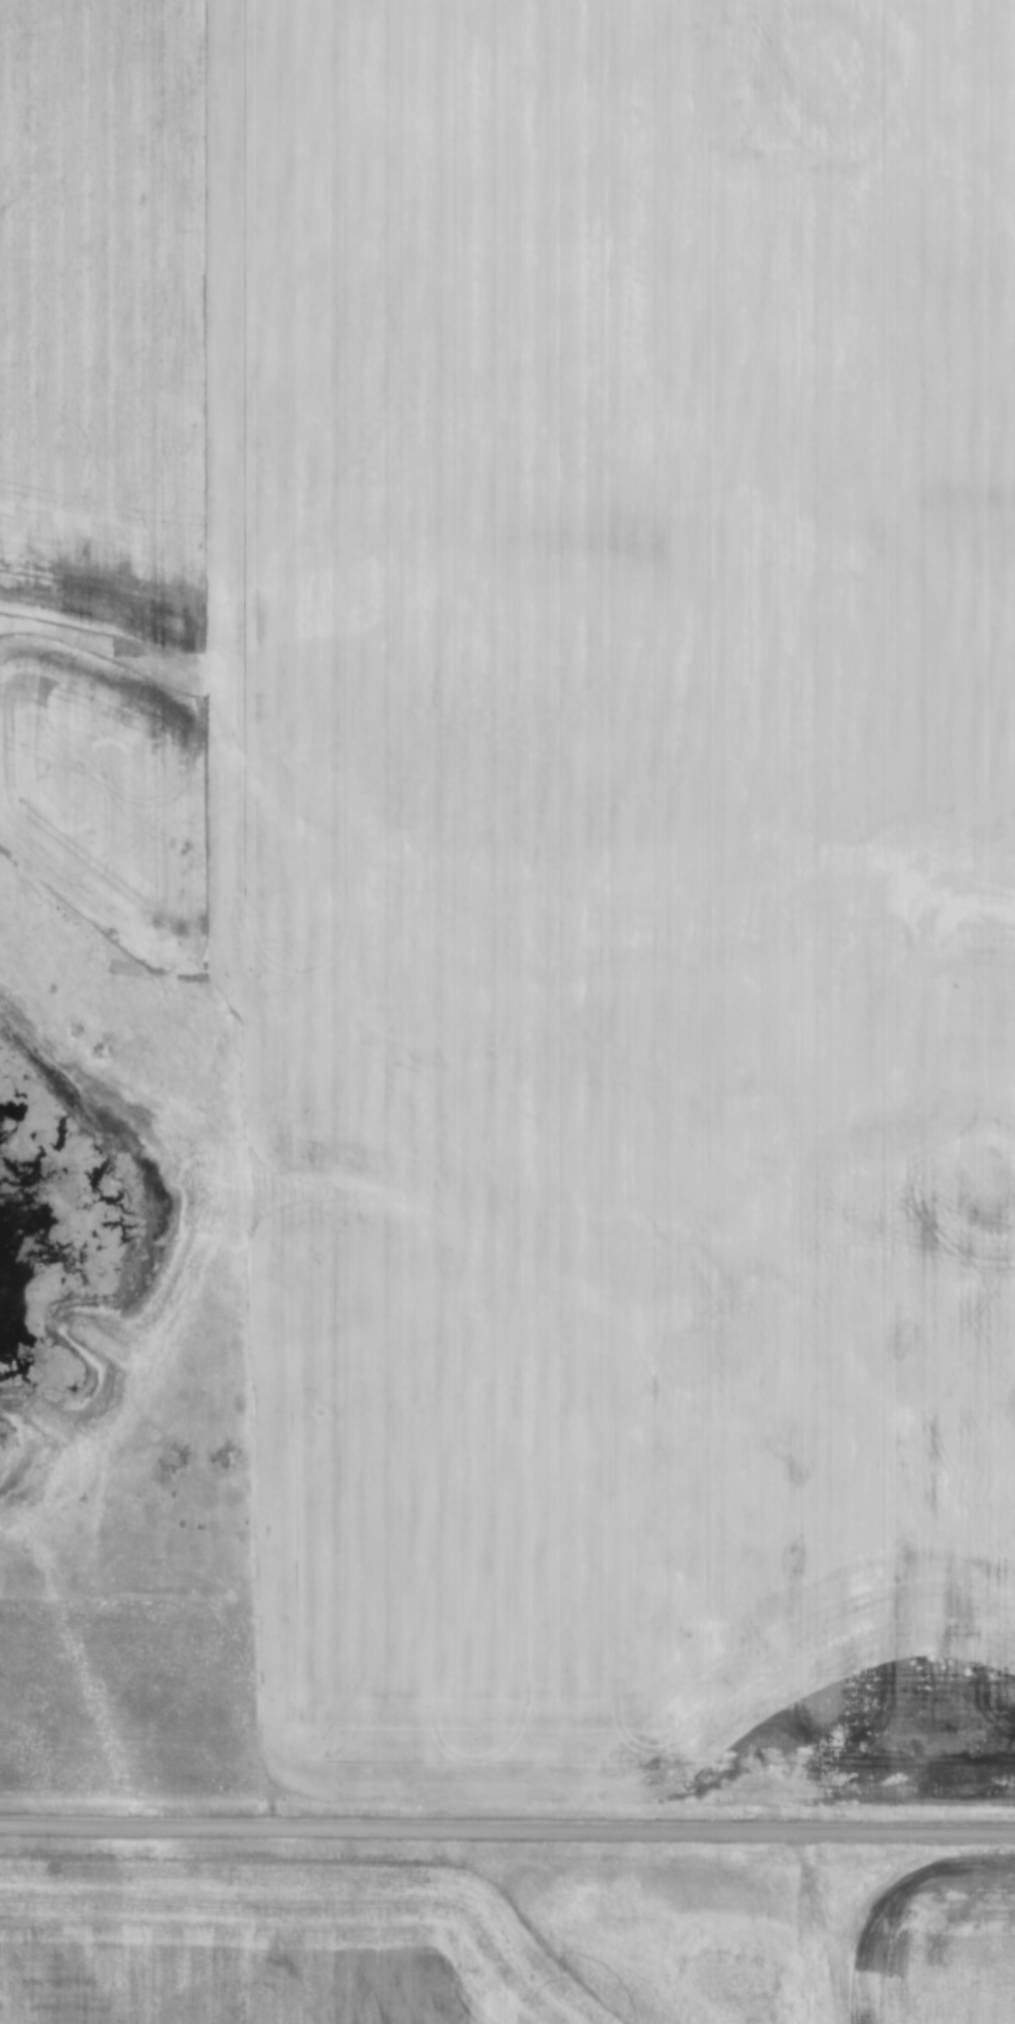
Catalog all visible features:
road: (507, 1825)
road: (821, 1926)

